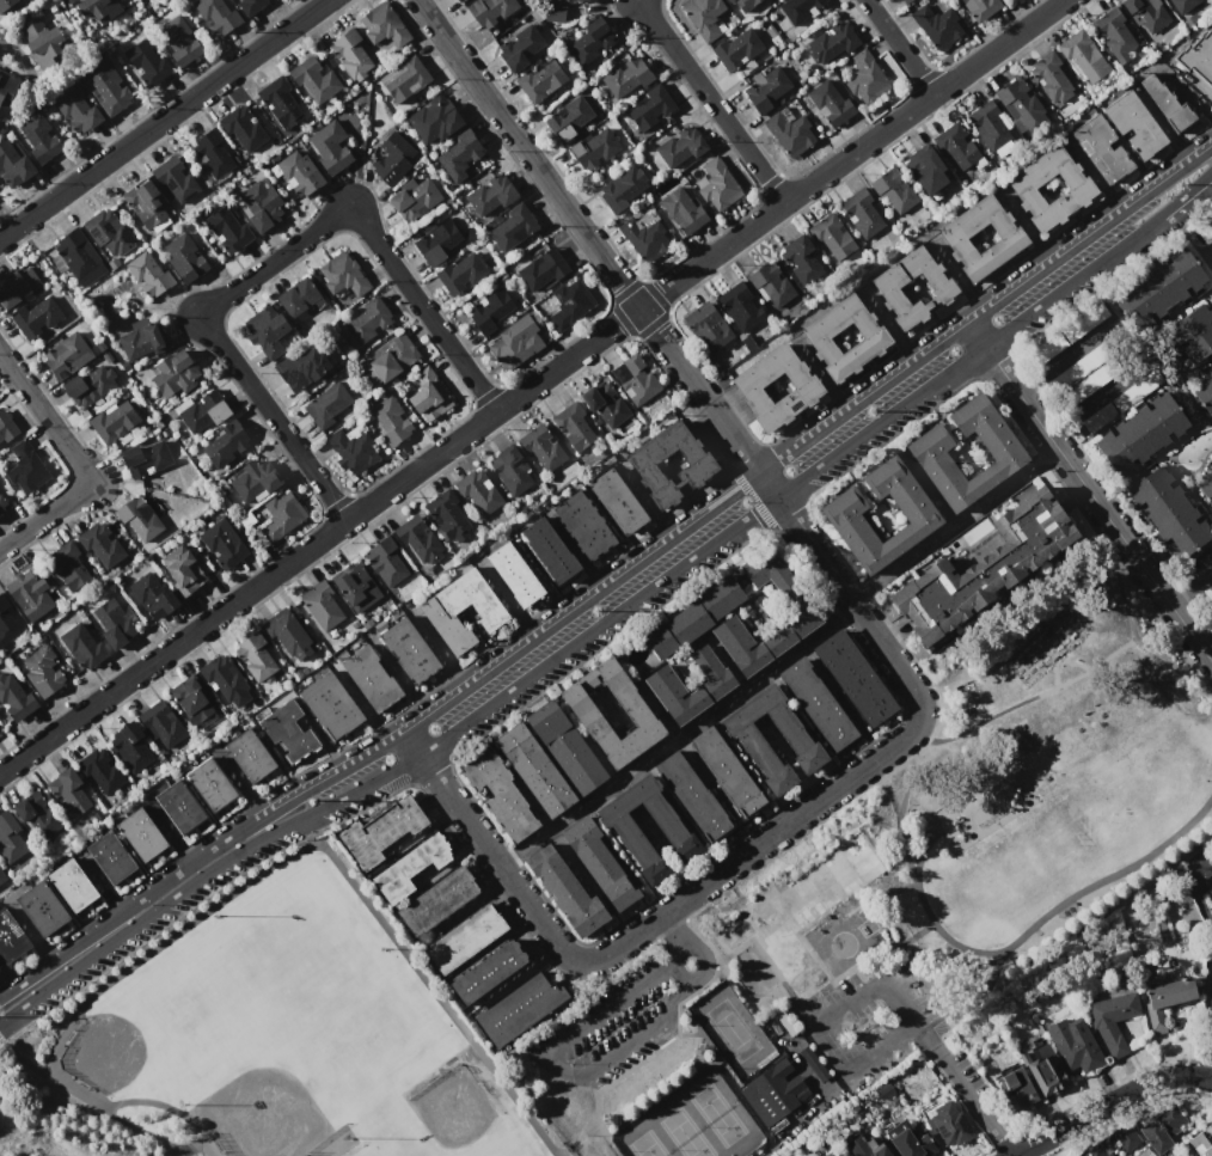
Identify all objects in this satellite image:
building: (458, 0)
building: (728, 0)
building: (1008, 0)
building: (571, 1)
building: (906, 1)
building: (746, 4)
building: (7, 5)
building: (250, 5)
building: (1182, 5)
building: (798, 8)
building: (981, 8)
building: (96, 11)
building: (489, 12)
building: (553, 13)
building: (1146, 14)
building: (214, 16)
building: (705, 17)
building: (937, 24)
building: (381, 30)
building: (1115, 35)
building: (42, 39)
building: (177, 39)
building: (590, 43)
road: (1, 44)
building: (831, 44)
road: (900, 47)
building: (520, 50)
building: (737, 50)
building: (351, 55)
building: (1198, 56)
building: (1082, 57)
building: (146, 61)
building: (863, 77)
building: (625, 79)
building: (1052, 79)
building: (314, 80)
building: (540, 80)
building: (405, 81)
building: (5, 85)
building: (105, 85)
building: (765, 88)
road: (711, 100)
building: (281, 102)
building: (830, 103)
building: (1167, 103)
building: (1021, 105)
building: (649, 108)
building: (76, 109)
road: (163, 118)
building: (568, 121)
building: (433, 122)
building: (1133, 123)
building: (990, 126)
building: (240, 130)
building: (790, 130)
building: (38, 136)
building: (329, 146)
building: (679, 147)
building: (955, 147)
building: (1101, 148)
building: (595, 149)
building: (212, 153)
building: (458, 154)
building: (388, 157)
building: (13, 163)
building: (925, 169)
building: (294, 173)
building: (173, 179)
building: (714, 183)
building: (1023, 183)
power tower: (1180, 183)
building: (622, 188)
building: (892, 190)
building: (486, 194)
building: (414, 197)
building: (143, 202)
building: (256, 206)
building: (681, 209)
building: (862, 212)
building: (509, 226)
building: (226, 228)
building: (106, 233)
building: (644, 233)
building: (953, 233)
building: (831, 237)
building: (437, 241)
road: (593, 247)
building: (76, 256)
building: (801, 257)
building: (183, 258)
road: (274, 262)
building: (540, 270)
building: (149, 273)
building: (459, 273)
building: (342, 279)
building: (886, 282)
building: (770, 285)
building: (17, 286)
building: (1161, 287)
building: (296, 295)
building: (567, 304)
building: (740, 306)
building: (490, 311)
building: (36, 317)
building: (366, 320)
building: (706, 328)
building: (269, 330)
building: (1067, 331)
building: (1193, 332)
building: (813, 334)
building: (142, 337)
building: (515, 342)
building: (66, 355)
building: (391, 359)
road: (1059, 359)
building: (300, 367)
building: (1084, 372)
building: (172, 373)
building: (633, 380)
building: (88, 384)
building: (746, 384)
road: (531, 385)
building: (1206, 385)
building: (1136, 391)
building: (426, 394)
building: (328, 404)
building: (602, 404)
road: (1085, 406)
power tower: (871, 410)
building: (203, 414)
building: (1096, 417)
building: (112, 420)
building: (388, 420)
building: (574, 426)
building: (6, 428)
building: (1140, 434)
building: (225, 445)
building: (351, 447)
building: (540, 448)
building: (1004, 454)
building: (145, 458)
building: (641, 460)
road: (79, 464)
building: (22, 466)
building: (510, 470)
building: (253, 481)
road: (737, 485)
building: (1205, 485)
building: (477, 491)
road: (1089, 491)
building: (2, 502)
building: (617, 502)
building: (1168, 512)
building: (276, 516)
building: (840, 516)
building: (448, 518)
building: (137, 519)
road: (951, 522)
building: (583, 525)
building: (417, 540)
building: (100, 544)
building: (221, 544)
building: (547, 551)
building: (385, 561)
building: (68, 565)
building: (981, 567)
building: (179, 571)
building: (513, 574)
road: (1188, 582)
building: (356, 588)
building: (1208, 592)
building: (29, 594)
building: (152, 595)
building: (795, 601)
building: (323, 608)
building: (439, 610)
power tower: (596, 610)
road: (614, 611)
building: (692, 617)
building: (10, 619)
building: (112, 624)
road: (1128, 624)
building: (284, 634)
road: (1205, 637)
building: (82, 646)
building: (408, 650)
building: (256, 656)
building: (42, 671)
building: (221, 677)
building: (371, 678)
building: (853, 678)
building: (711, 689)
building: (14, 698)
road: (1024, 699)
building: (192, 701)
building: (818, 703)
building: (331, 707)
building: (636, 710)
building: (161, 723)
building: (746, 730)
building: (287, 732)
road: (674, 734)
building: (131, 746)
building: (563, 747)
building: (250, 756)
building: (100, 770)
building: (532, 770)
building: (727, 771)
park: (1048, 771)
building: (210, 785)
building: (68, 793)
building: (497, 795)
building: (692, 796)
power tower: (313, 799)
building: (180, 806)
building: (37, 815)
building: (381, 831)
building: (672, 831)
road: (920, 833)
building: (141, 834)
building: (11, 838)
road: (741, 854)
road: (923, 855)
building: (110, 857)
building: (599, 863)
building: (409, 867)
building: (1, 876)
road: (97, 885)
building: (72, 886)
building: (564, 891)
building: (437, 900)
road: (128, 905)
building: (41, 909)
road: (839, 926)
road: (883, 928)
road: (667, 932)
building: (10, 938)
building: (465, 938)
road: (700, 949)
road: (893, 952)
road: (994, 953)
building: (488, 971)
park: (249, 978)
building: (1210, 997)
road: (974, 1001)
building: (1168, 1001)
building: (519, 1004)
parking lot: (628, 1014)
building: (1113, 1020)
road: (809, 1023)
road: (923, 1028)
park: (732, 1030)
park: (295, 1034)
building: (1078, 1051)
road: (557, 1062)
building: (1046, 1077)
building: (1016, 1089)
building: (773, 1090)
road: (969, 1095)
road: (1109, 1103)
park: (718, 1115)
building: (948, 1125)
building: (1163, 1127)
park: (685, 1134)
building: (906, 1139)
building: (1113, 1142)
building: (1201, 1142)
park: (647, 1145)
building: (865, 1146)
park: (427, 1150)
road: (1017, 1155)

